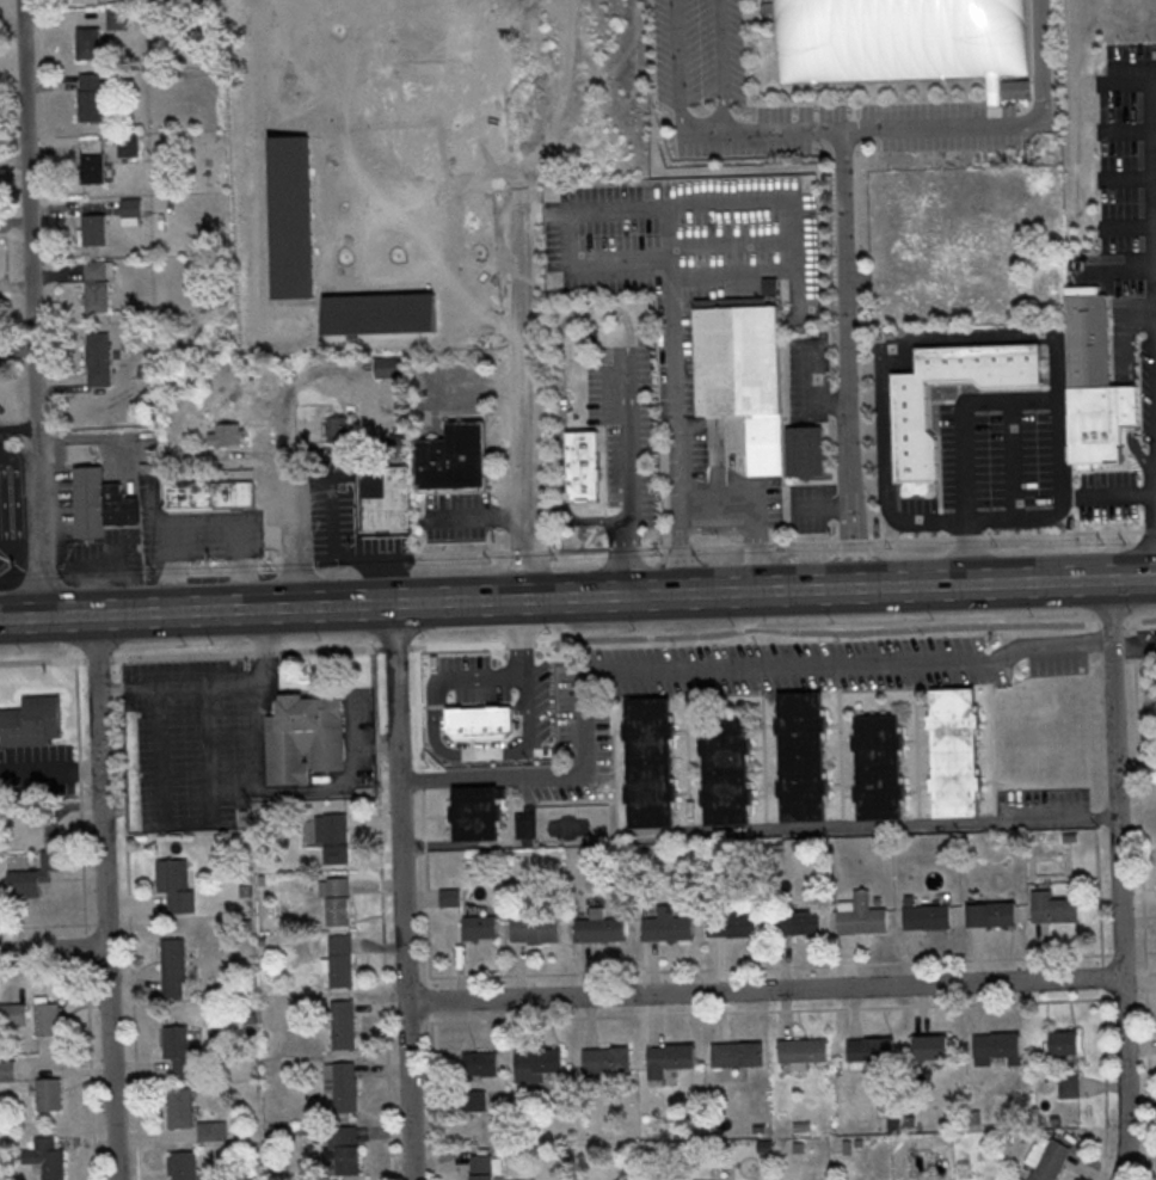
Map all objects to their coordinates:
building: (116, 18)
park: (896, 38)
building: (87, 42)
building: (886, 53)
road: (675, 64)
road: (717, 64)
road: (1126, 80)
building: (88, 96)
road: (1155, 104)
road: (915, 127)
road: (1126, 129)
building: (91, 160)
road: (1126, 178)
road: (788, 203)
building: (129, 210)
road: (851, 216)
road: (1129, 226)
building: (93, 228)
road: (731, 244)
road: (1124, 259)
road: (592, 264)
road: (732, 271)
road: (671, 278)
building: (94, 285)
road: (592, 307)
road: (31, 308)
road: (1133, 339)
road: (847, 357)
building: (97, 358)
building: (388, 365)
building: (740, 376)
building: (1094, 382)
road: (521, 388)
road: (1135, 405)
building: (908, 407)
building: (337, 428)
building: (226, 434)
road: (626, 438)
road: (1140, 449)
building: (465, 453)
road: (17, 454)
road: (1010, 457)
road: (559, 460)
road: (281, 462)
building: (429, 462)
building: (582, 465)
building: (190, 493)
building: (234, 493)
road: (1125, 494)
building: (382, 498)
building: (99, 502)
road: (755, 505)
road: (820, 506)
road: (967, 518)
road: (204, 521)
road: (718, 527)
road: (783, 541)
road: (680, 547)
road: (332, 552)
road: (18, 553)
road: (313, 553)
road: (622, 561)
road: (577, 597)
road: (578, 639)
road: (264, 645)
road: (1133, 646)
road: (707, 664)
building: (31, 720)
building: (303, 737)
building: (651, 762)
road: (293, 788)
building: (476, 812)
road: (187, 823)
road: (871, 828)
building: (333, 835)
building: (49, 861)
road: (1118, 879)
building: (24, 883)
building: (176, 884)
road: (402, 891)
building: (449, 896)
road: (103, 898)
building: (337, 899)
building: (1052, 906)
building: (992, 912)
building: (860, 916)
building: (928, 916)
building: (808, 921)
building: (731, 923)
building: (668, 924)
building: (479, 926)
building: (599, 927)
building: (536, 929)
road: (54, 948)
building: (340, 960)
building: (173, 966)
road: (765, 990)
building: (13, 1014)
building: (47, 1016)
building: (344, 1024)
building: (176, 1040)
building: (1065, 1043)
building: (996, 1046)
building: (869, 1047)
building: (930, 1049)
building: (804, 1050)
building: (737, 1053)
building: (669, 1058)
building: (607, 1059)
building: (480, 1063)
building: (537, 1063)
building: (343, 1084)
building: (49, 1093)
building: (479, 1099)
building: (179, 1106)
building: (211, 1130)
building: (345, 1148)
building: (47, 1157)
building: (1051, 1161)
building: (183, 1164)
building: (481, 1166)

